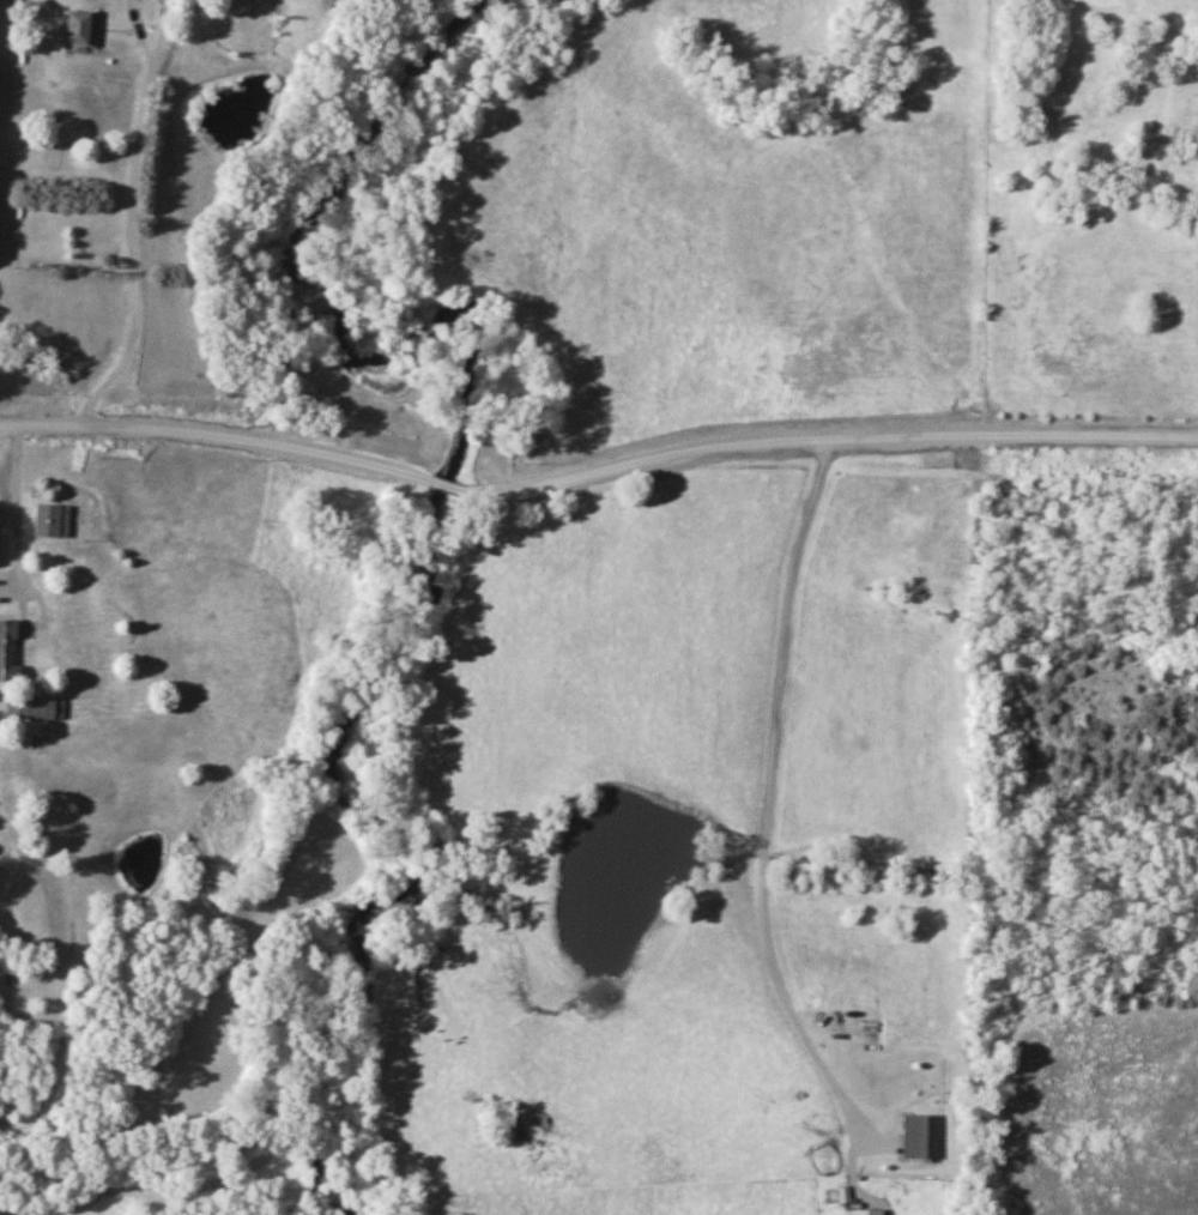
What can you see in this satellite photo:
building: (78, 29)
road: (150, 67)
building: (54, 139)
road: (133, 255)
road: (595, 474)
building: (47, 520)
road: (19, 556)
building: (6, 652)
building: (31, 708)
road: (767, 809)
building: (919, 1136)
building: (861, 1211)

